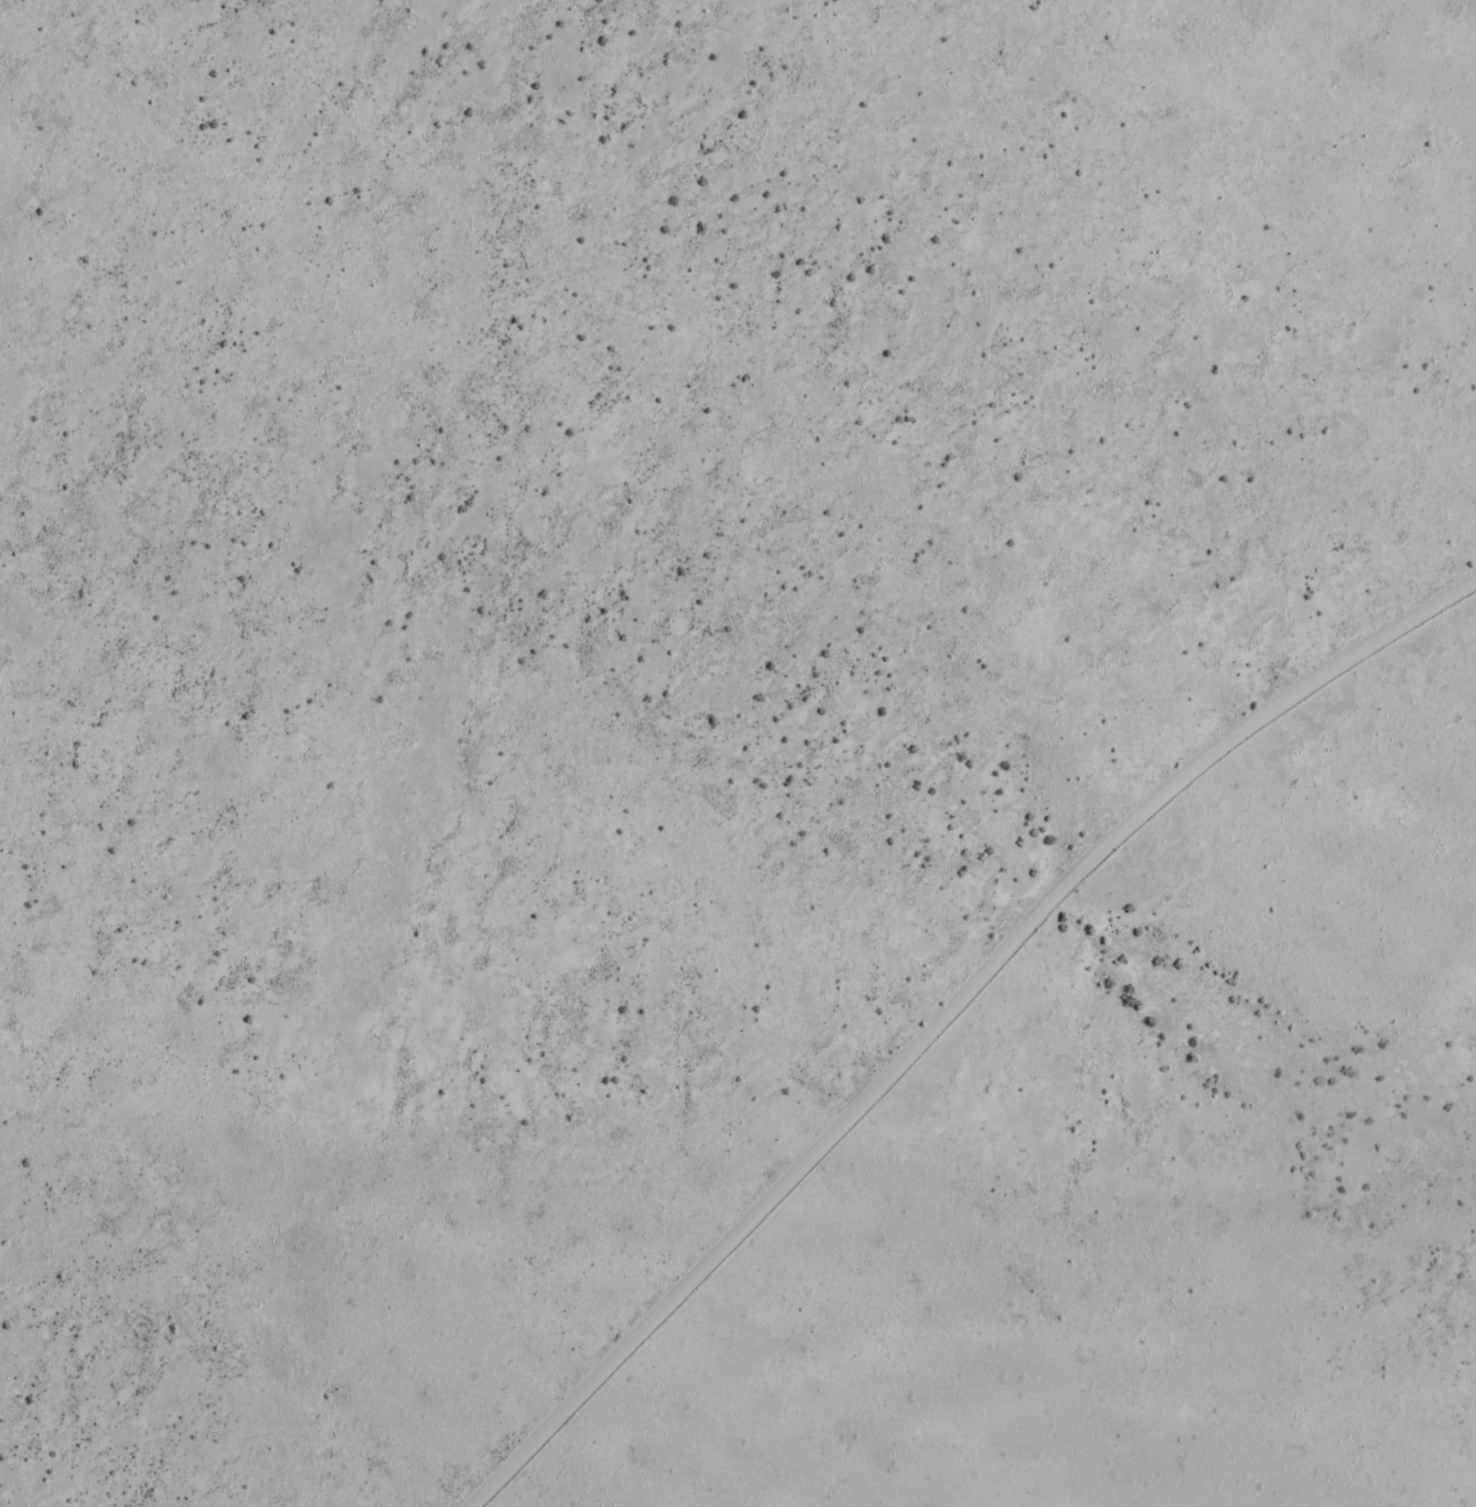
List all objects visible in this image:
road: (945, 1011)

